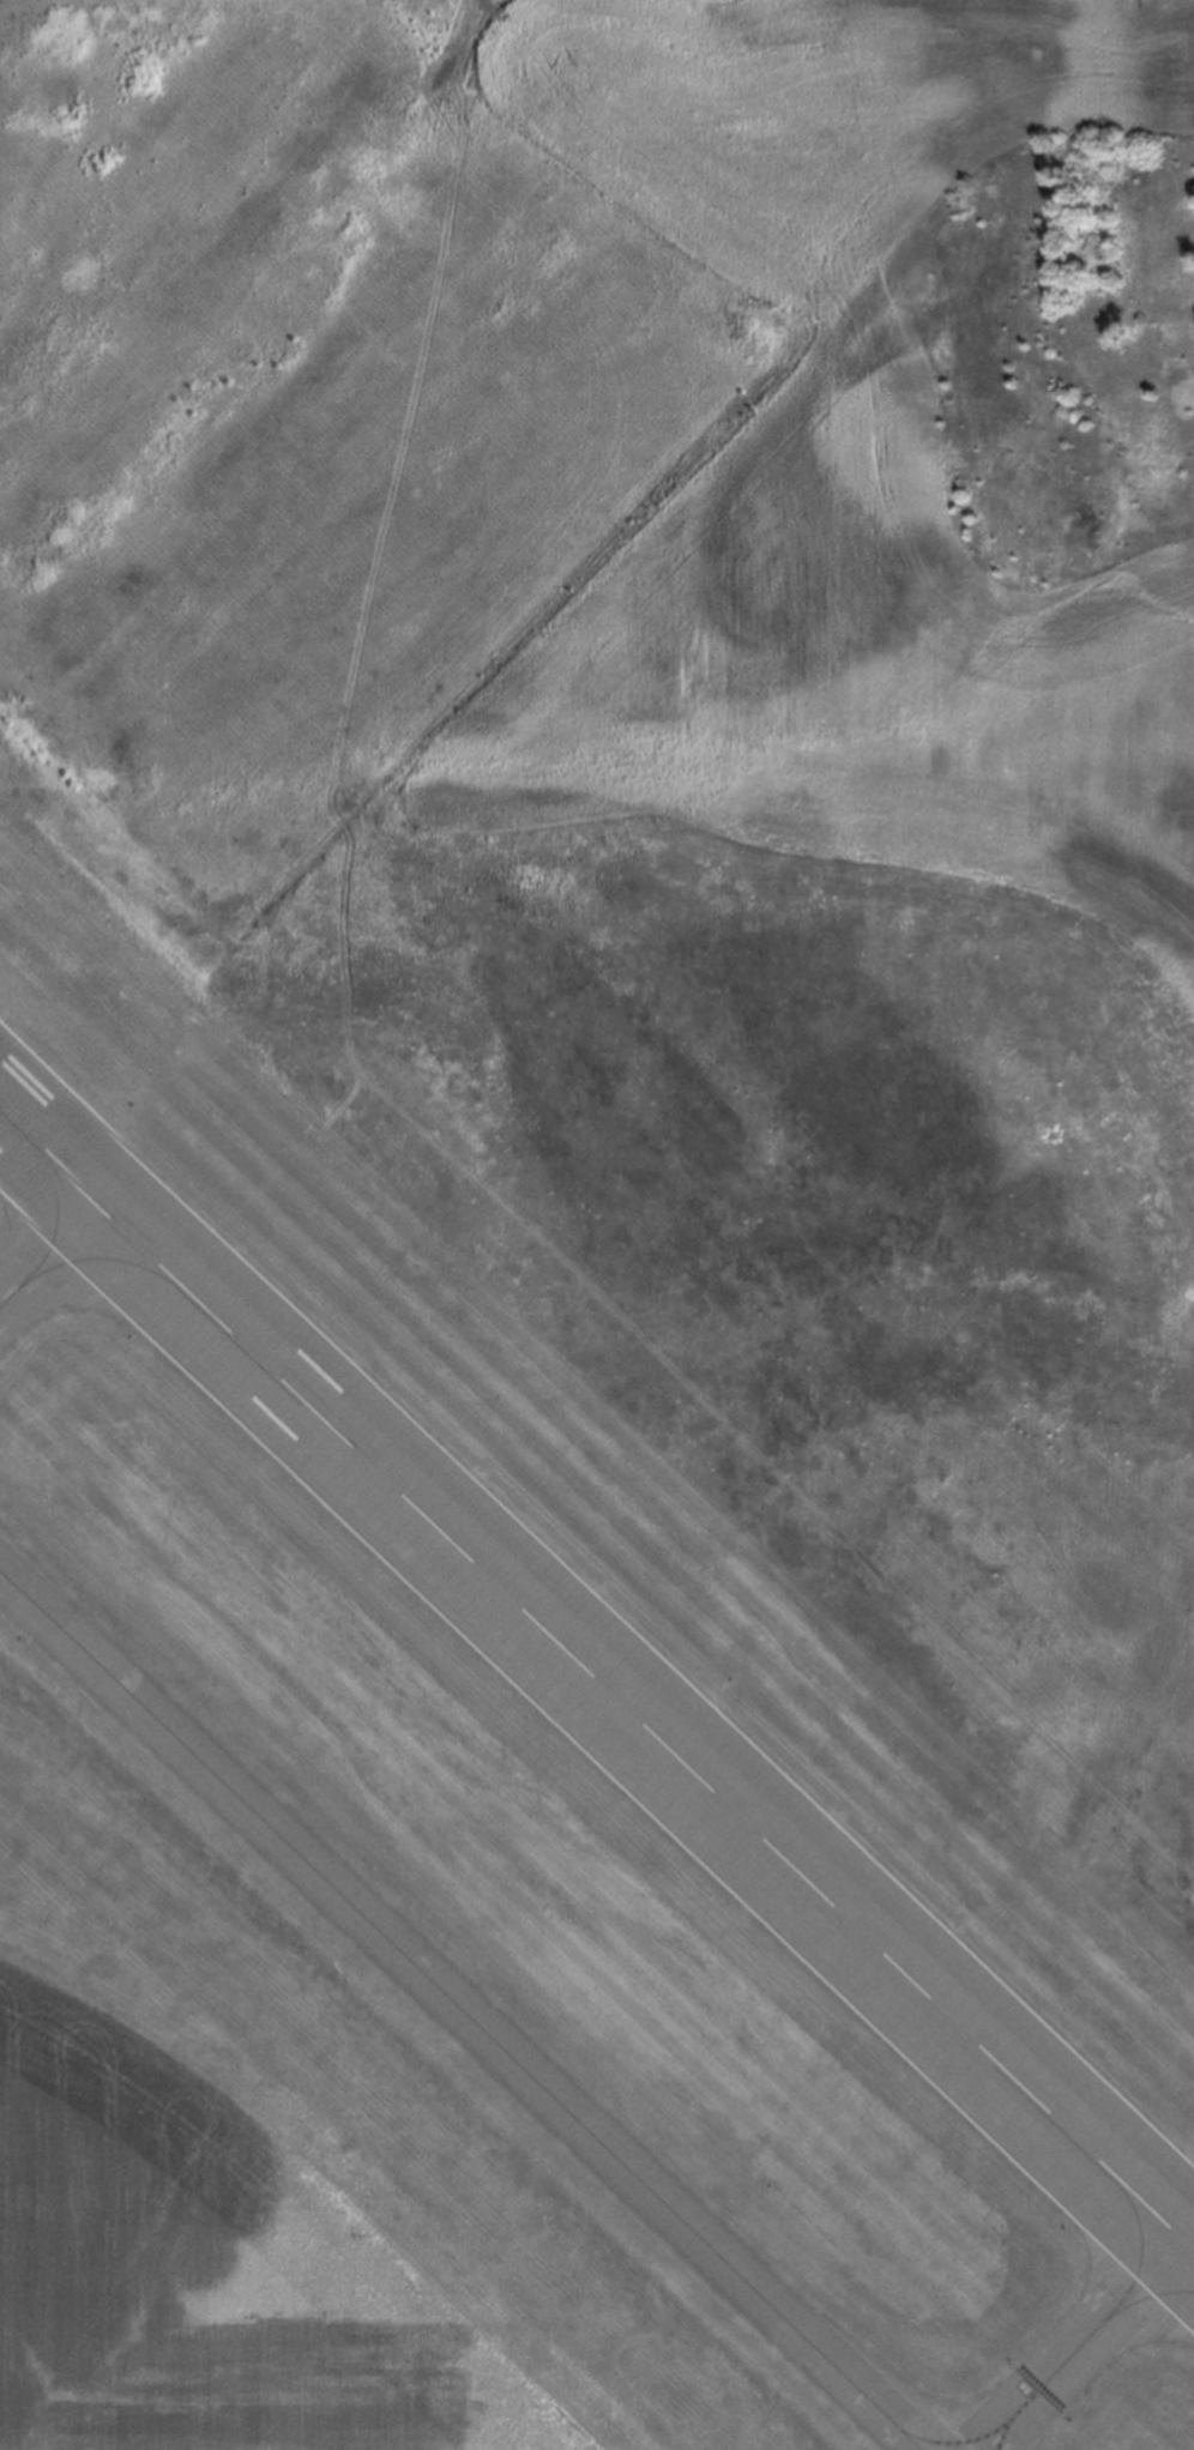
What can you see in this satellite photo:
airport: (597, 1225)
airport taxiway: (48, 1254)
airport runway: (597, 1679)
airport taxiway: (460, 2009)
airport taxiway: (1085, 2341)
airport taxiway: (958, 2440)

